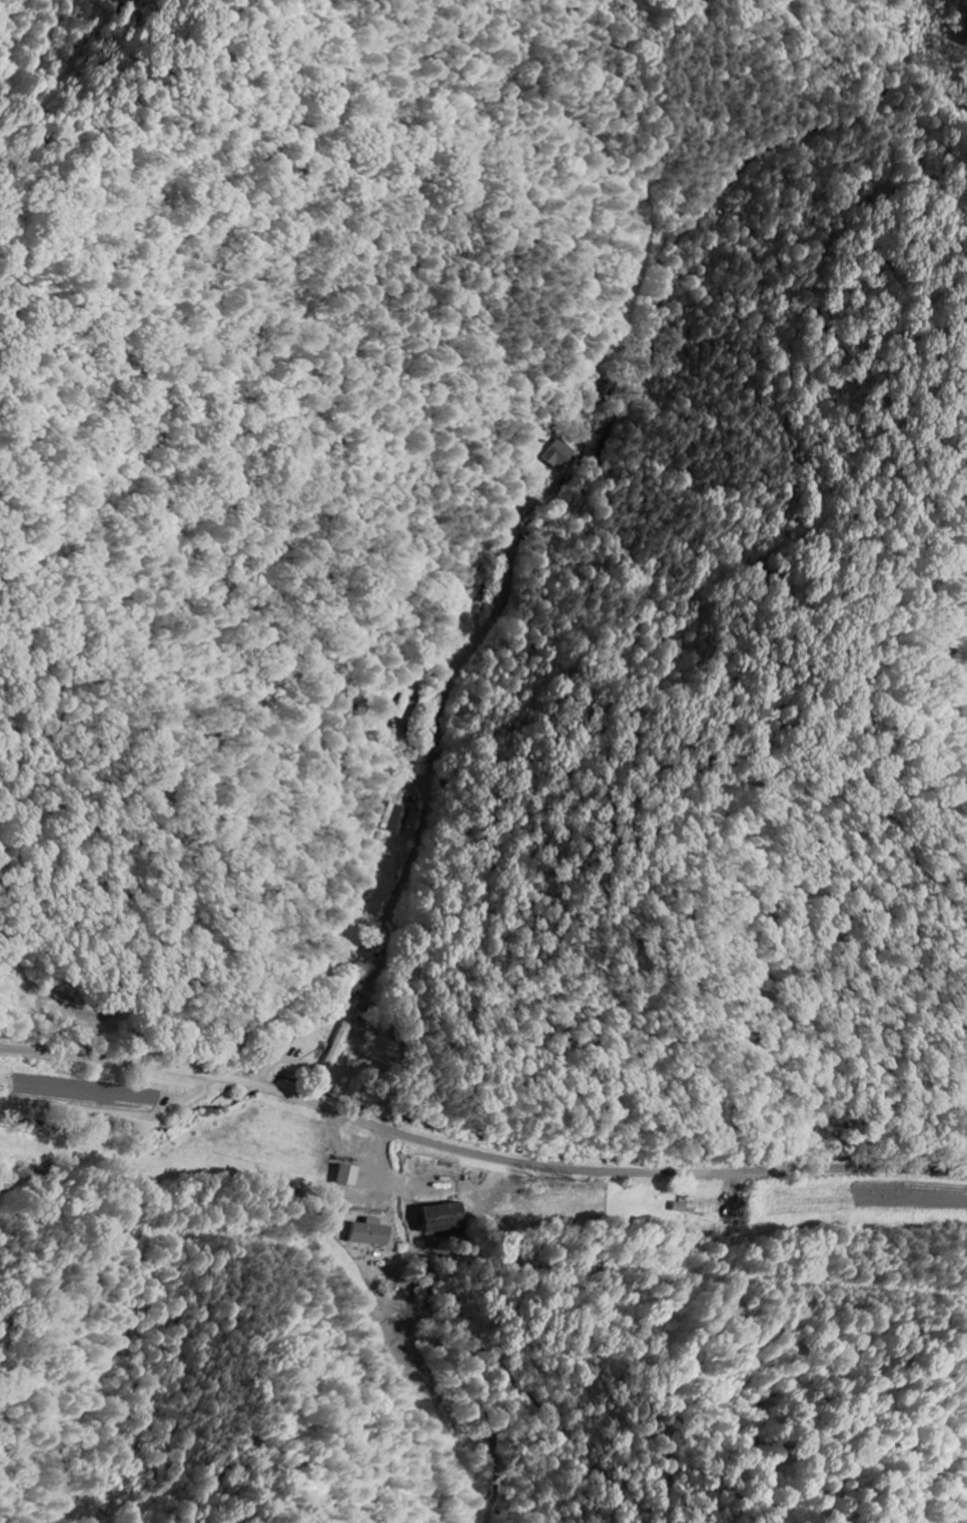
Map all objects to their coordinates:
building: (557, 455)
road: (422, 825)
road: (477, 1156)
building: (348, 1175)
building: (692, 1208)
building: (443, 1217)
building: (372, 1232)

